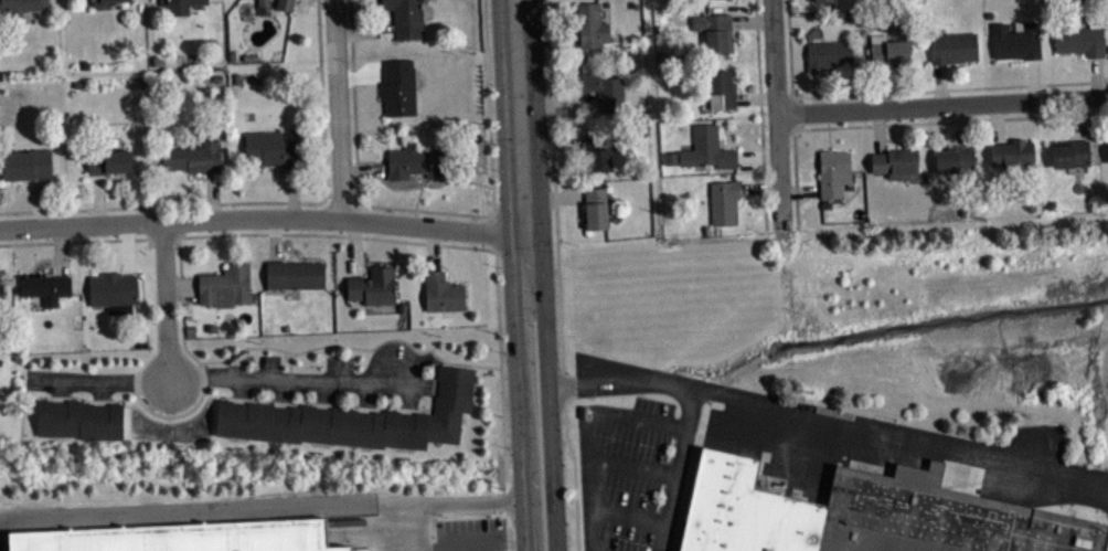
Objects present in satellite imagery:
building: (823, 0)
building: (722, 1)
building: (103, 2)
building: (264, 2)
building: (286, 4)
building: (180, 6)
building: (22, 7)
building: (407, 17)
building: (592, 25)
building: (715, 31)
building: (1016, 40)
building: (1080, 40)
building: (952, 46)
road: (790, 47)
building: (889, 50)
building: (829, 54)
building: (399, 86)
road: (950, 87)
building: (605, 89)
building: (722, 89)
road: (942, 104)
road: (338, 109)
road: (777, 110)
road: (793, 113)
road: (760, 114)
road: (516, 117)
road: (902, 123)
building: (271, 148)
building: (707, 148)
building: (599, 150)
building: (1012, 151)
building: (1069, 152)
building: (193, 156)
building: (956, 159)
building: (110, 160)
building: (415, 160)
building: (895, 162)
building: (26, 163)
building: (834, 172)
road: (342, 194)
road: (262, 201)
building: (724, 201)
building: (596, 206)
road: (429, 209)
road: (260, 216)
road: (491, 229)
road: (331, 233)
road: (172, 236)
road: (82, 240)
building: (295, 273)
road: (558, 276)
building: (226, 284)
building: (373, 285)
building: (46, 286)
building: (1, 288)
building: (114, 290)
building: (443, 292)
building: (3, 297)
road: (166, 299)
road: (226, 374)
road: (548, 391)
road: (518, 392)
building: (79, 417)
building: (354, 417)
road: (829, 423)
road: (589, 433)
road: (680, 469)
parking lot: (628, 473)
road: (260, 506)
building: (867, 513)
road: (509, 523)
road: (393, 528)
building: (181, 536)
parking lot: (2, 543)
building: (353, 550)

